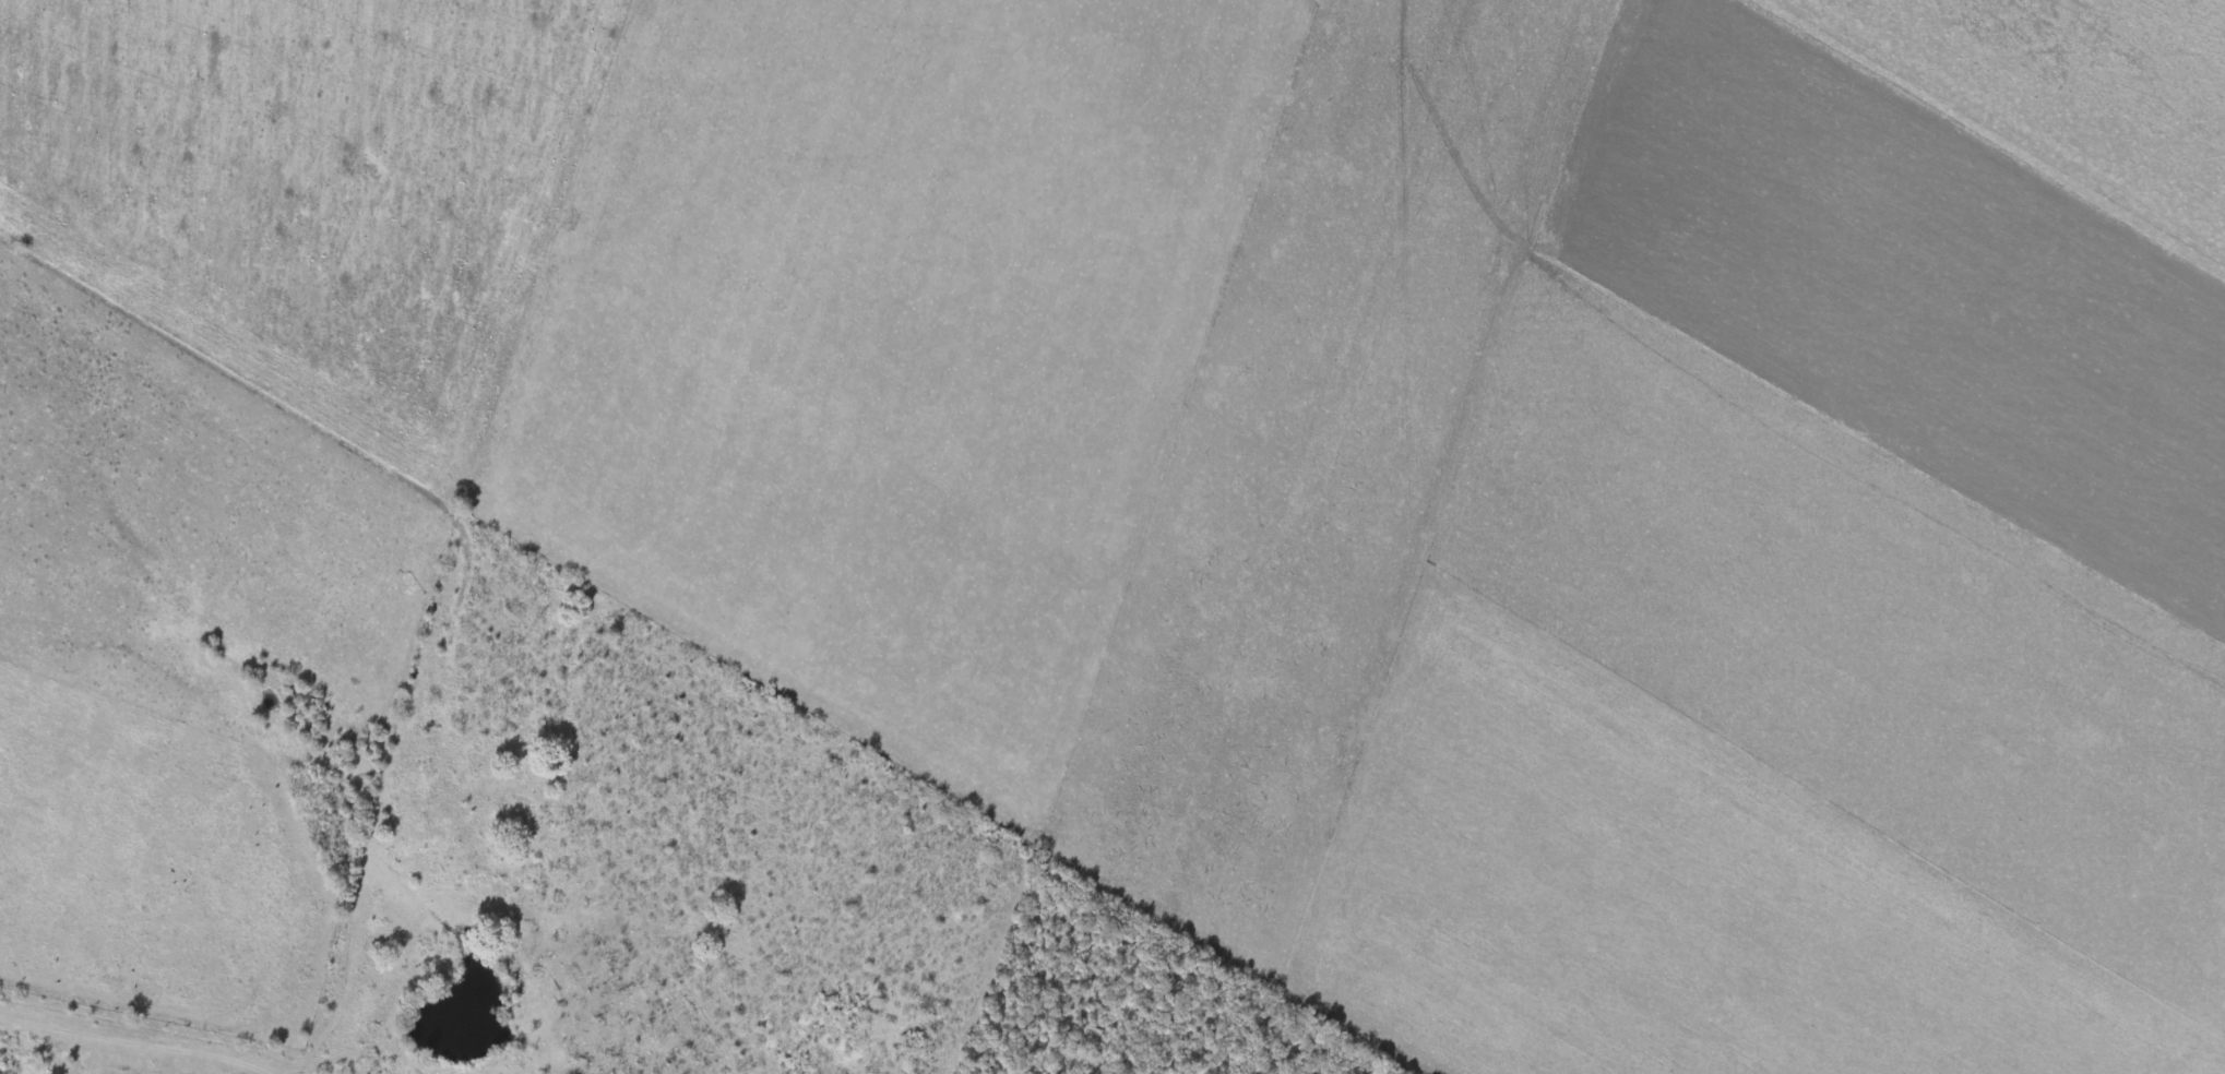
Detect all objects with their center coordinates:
road: (29, 649)

